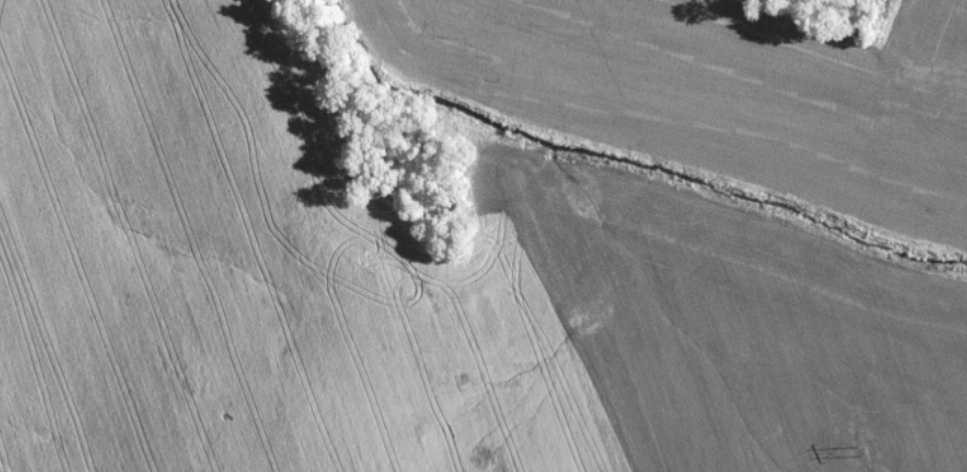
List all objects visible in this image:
power tower: (858, 444)

